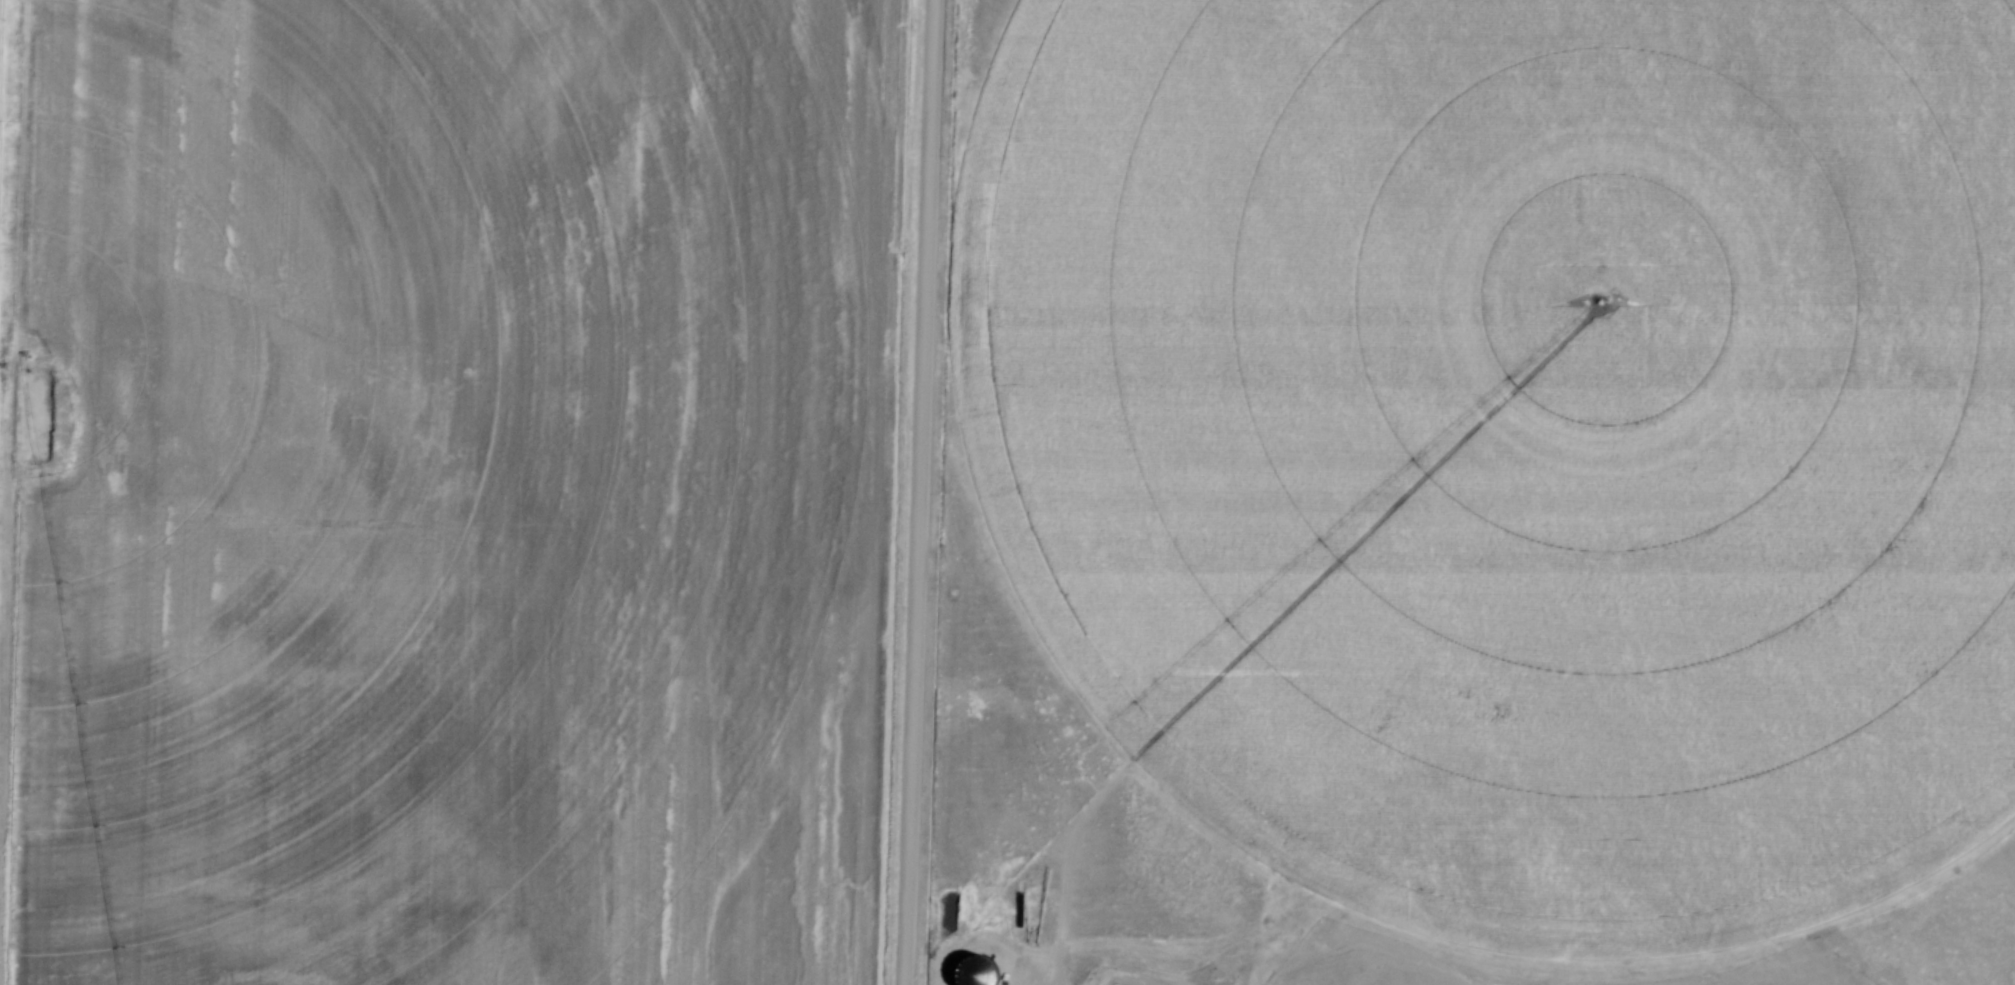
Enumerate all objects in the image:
crop: (1507, 439)
crop: (444, 490)
road: (909, 492)
building: (975, 973)
silo: (975, 973)

